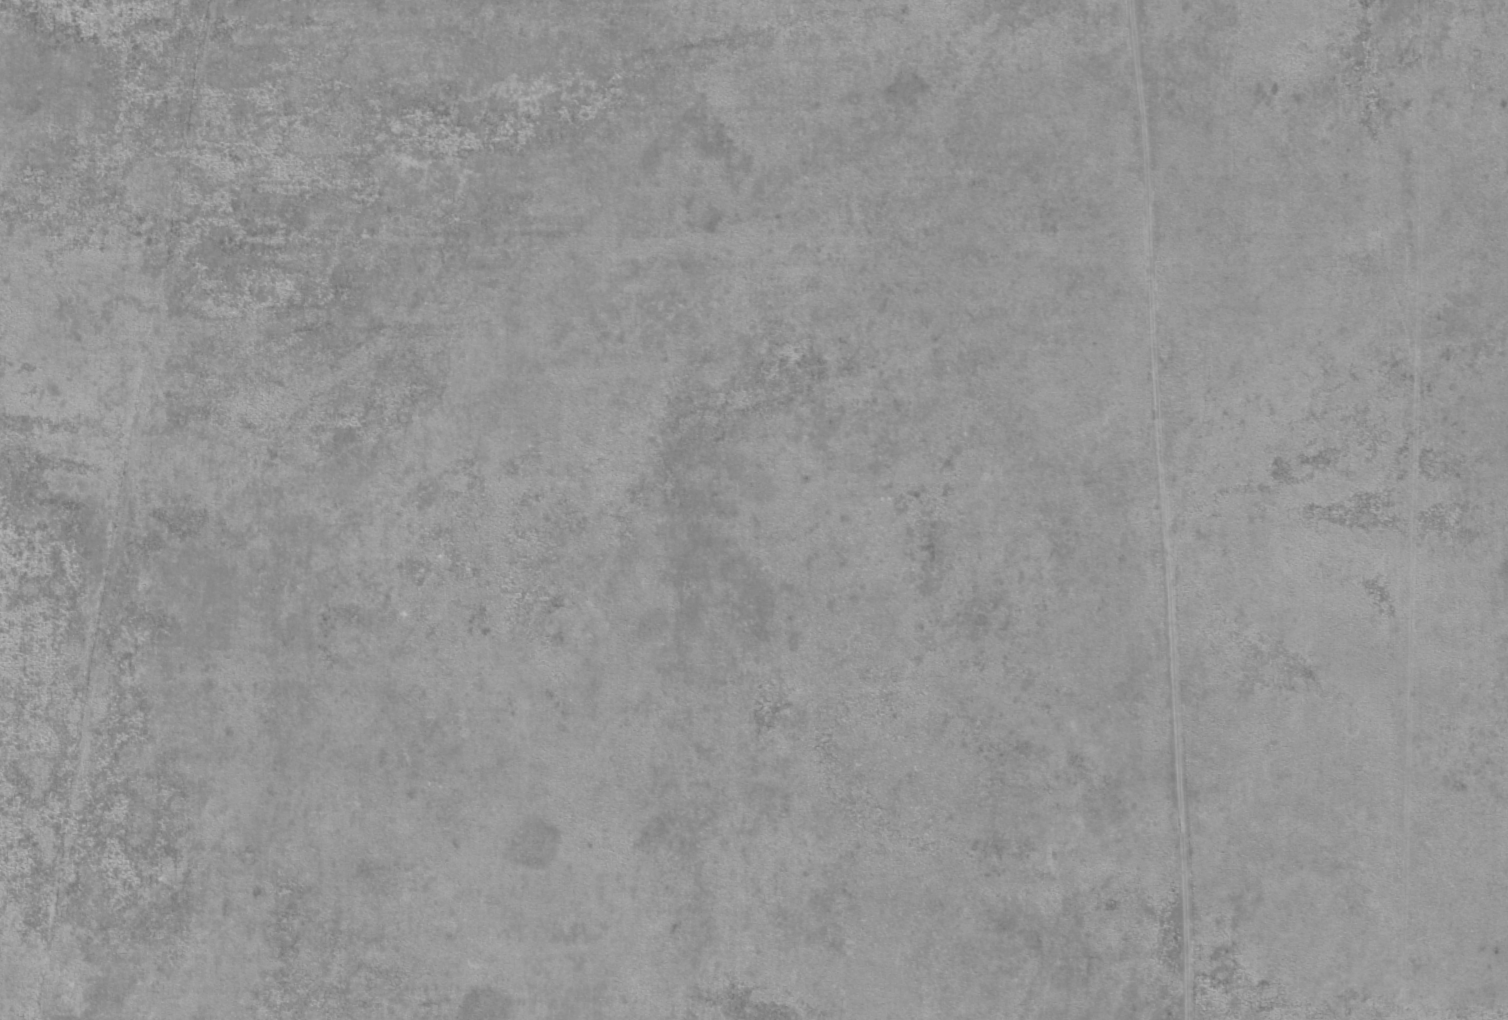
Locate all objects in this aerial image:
road: (1140, 510)

